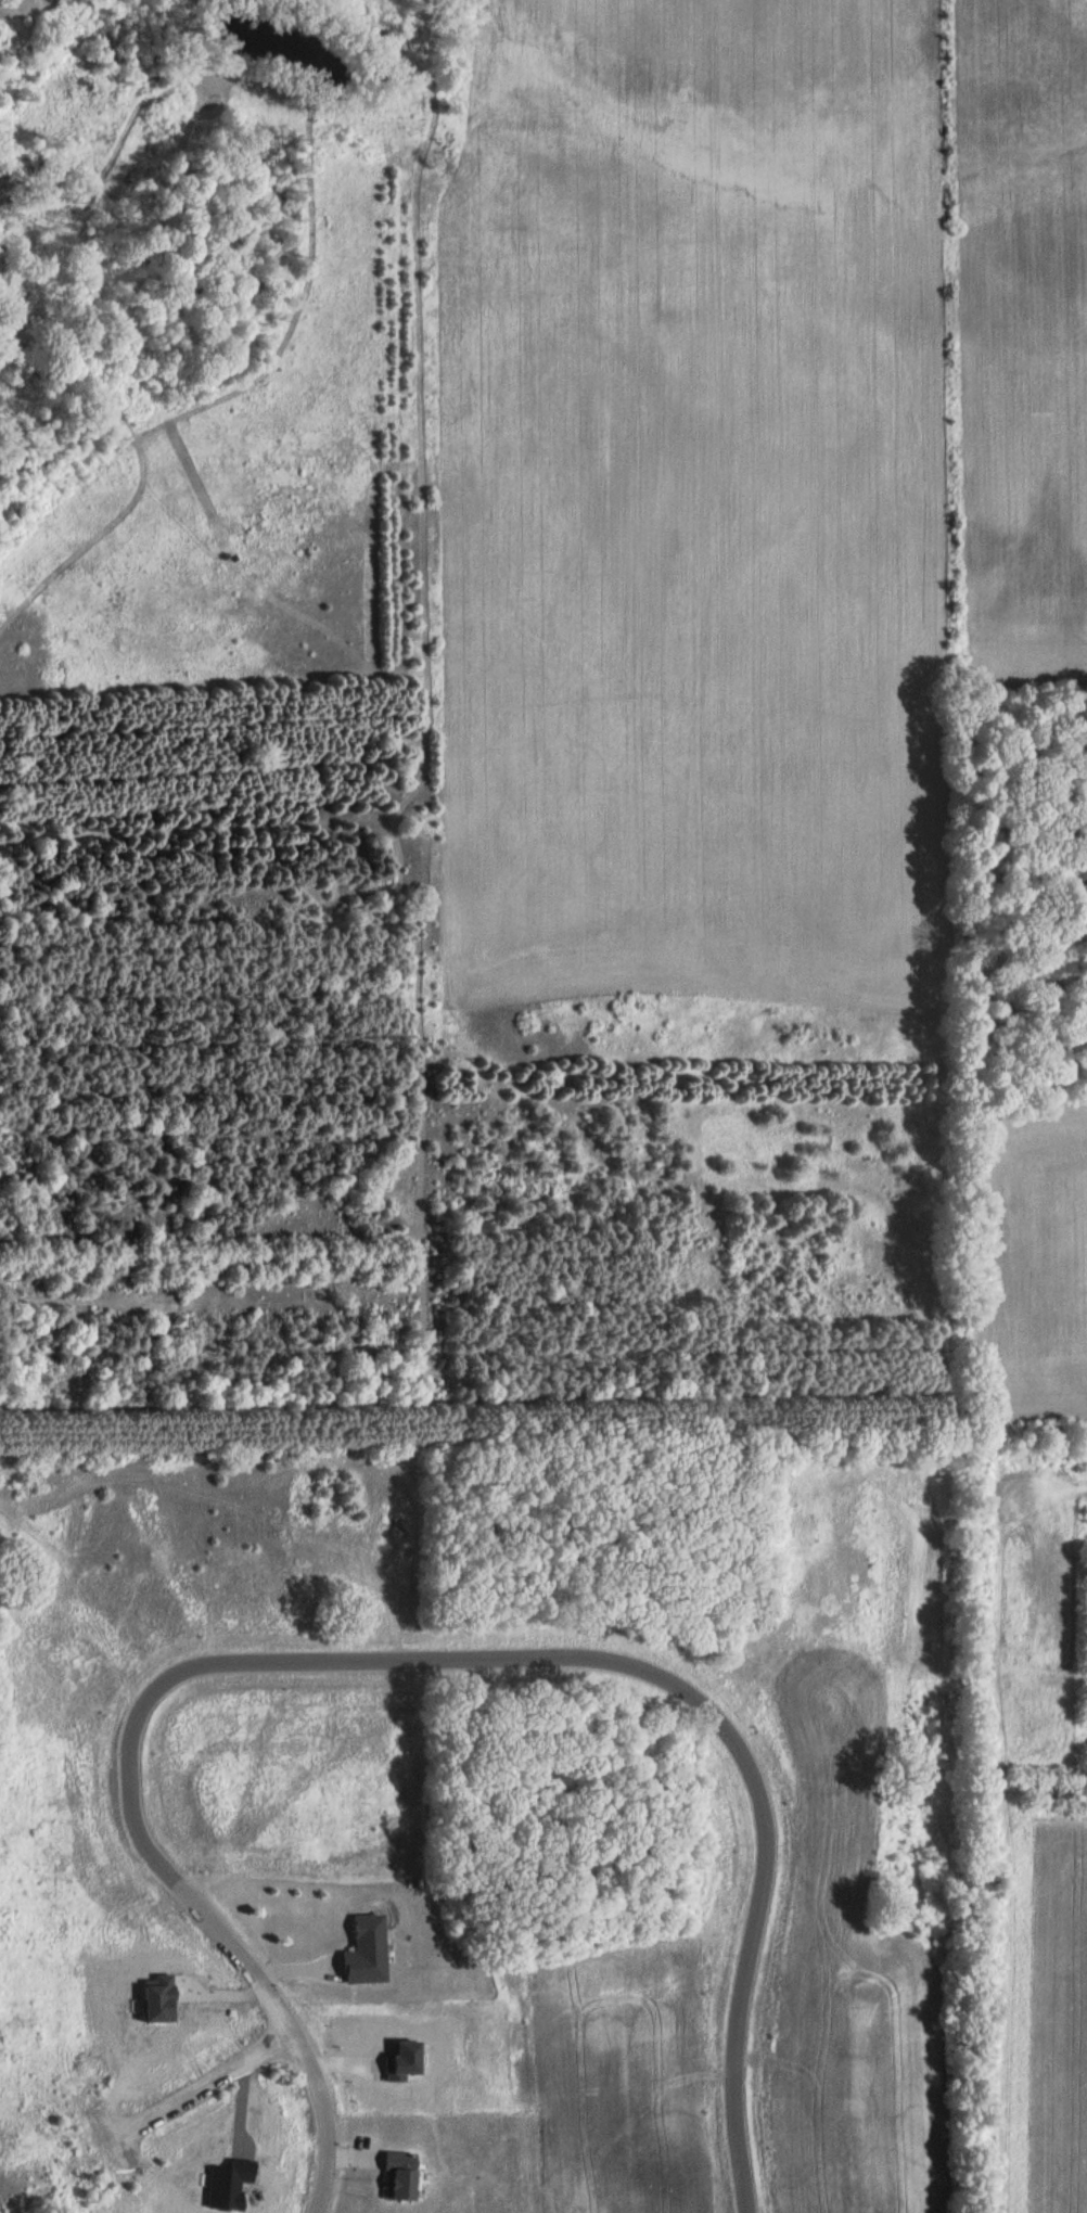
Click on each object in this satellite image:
road: (294, 2033)
road: (204, 2092)
building: (399, 2177)

